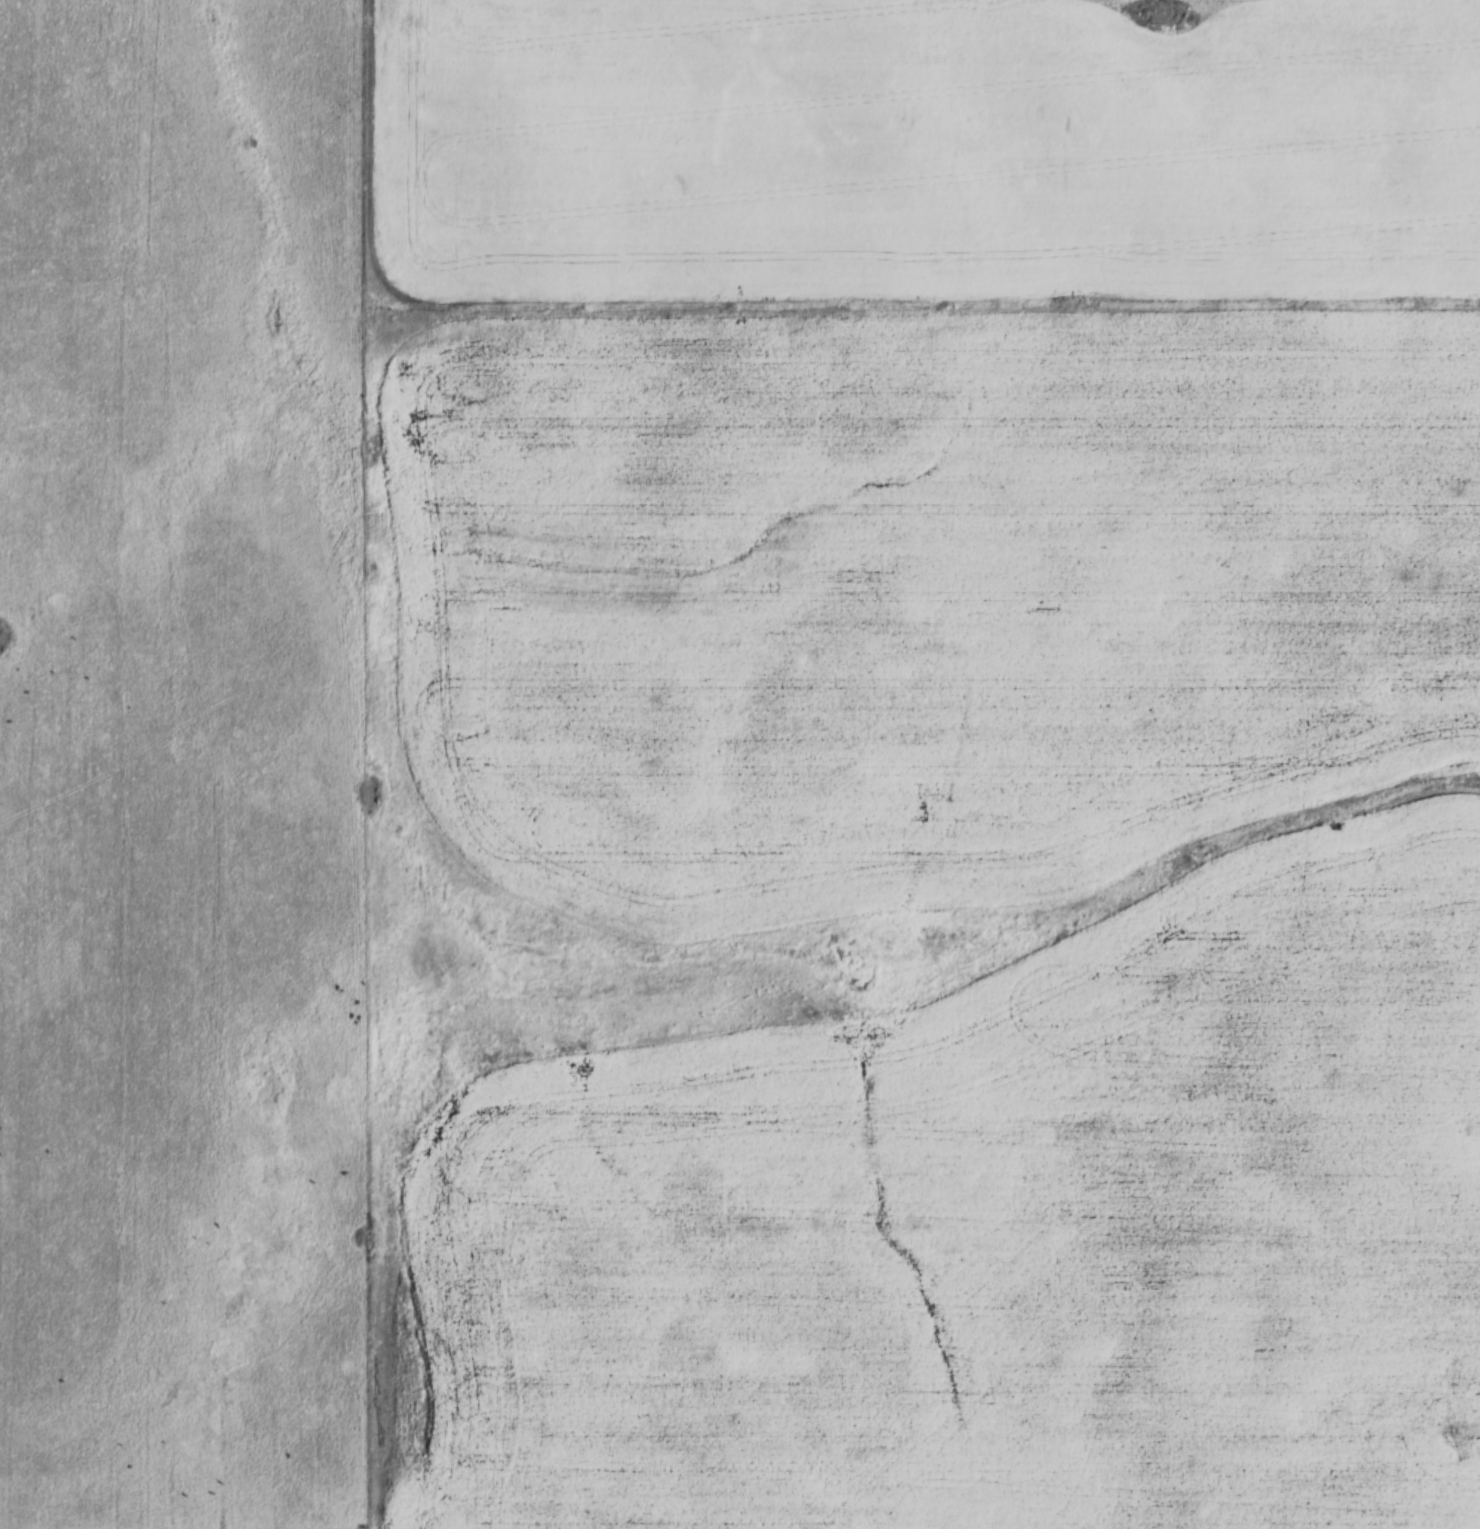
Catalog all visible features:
wind turbine: (1456, 1427)

